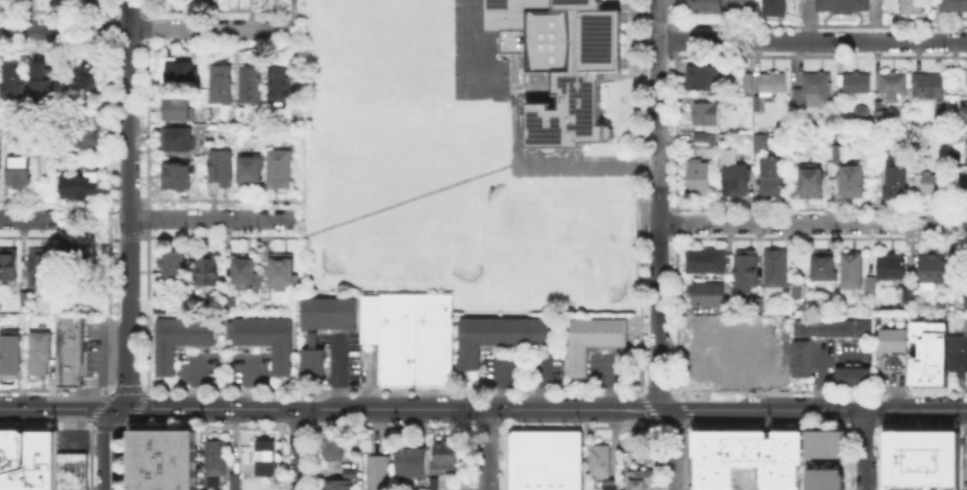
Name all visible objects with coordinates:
building: (844, 6)
building: (955, 6)
building: (707, 7)
building: (745, 7)
building: (777, 8)
building: (914, 8)
road: (146, 28)
road: (812, 40)
building: (561, 63)
building: (182, 74)
building: (86, 76)
building: (966, 77)
building: (705, 78)
building: (42, 79)
building: (750, 81)
building: (278, 82)
building: (18, 83)
building: (858, 84)
building: (252, 85)
building: (776, 85)
building: (224, 86)
building: (895, 86)
building: (813, 87)
building: (930, 87)
building: (759, 104)
building: (177, 110)
building: (963, 110)
building: (707, 112)
building: (882, 120)
building: (939, 120)
building: (8, 130)
road: (513, 134)
building: (89, 136)
building: (703, 136)
building: (957, 138)
building: (180, 140)
building: (762, 144)
building: (966, 148)
building: (278, 167)
building: (222, 169)
building: (49, 170)
building: (251, 170)
building: (20, 174)
building: (179, 176)
building: (897, 177)
building: (699, 178)
building: (773, 178)
building: (735, 179)
building: (812, 180)
building: (854, 181)
building: (930, 185)
building: (83, 186)
road: (407, 199)
road: (127, 205)
road: (658, 205)
park: (519, 214)
road: (25, 219)
road: (207, 220)
road: (812, 222)
park: (357, 228)
road: (214, 235)
building: (75, 239)
park: (455, 243)
building: (703, 259)
building: (7, 263)
building: (821, 264)
building: (889, 265)
building: (42, 266)
building: (173, 267)
park: (591, 268)
building: (743, 268)
building: (772, 268)
building: (849, 268)
building: (930, 269)
building: (280, 270)
building: (246, 272)
building: (208, 273)
building: (952, 274)
building: (869, 282)
building: (799, 290)
building: (704, 291)
building: (964, 292)
building: (905, 293)
building: (913, 293)
building: (23, 296)
building: (232, 301)
building: (327, 312)
building: (876, 317)
building: (884, 318)
building: (964, 323)
building: (831, 326)
building: (68, 327)
building: (700, 327)
building: (495, 335)
building: (408, 336)
building: (179, 337)
building: (264, 337)
building: (590, 338)
building: (892, 339)
building: (735, 345)
parking lot: (93, 348)
building: (39, 351)
building: (9, 352)
building: (928, 352)
building: (957, 353)
building: (311, 357)
building: (800, 357)
road: (818, 359)
building: (894, 360)
building: (765, 361)
building: (68, 363)
building: (702, 365)
road: (336, 373)
building: (852, 375)
road: (605, 381)
road: (195, 382)
road: (249, 382)
road: (502, 382)
road: (542, 383)
road: (145, 390)
road: (311, 390)
road: (648, 390)
road: (643, 399)
road: (58, 408)
traffic signals: (118, 408)
road: (573, 408)
road: (636, 408)
traffic signals: (639, 408)
road: (302, 409)
road: (495, 409)
road: (522, 409)
traffic signals: (692, 409)
road: (767, 409)
road: (916, 410)
building: (142, 441)
building: (824, 443)
building: (330, 444)
road: (109, 447)
road: (676, 448)
road: (298, 449)
road: (486, 449)
road: (866, 450)
building: (443, 452)
building: (966, 452)
building: (263, 456)
building: (598, 458)
building: (7, 459)
building: (35, 459)
building: (175, 459)
building: (214, 459)
building: (544, 459)
building: (402, 460)
building: (417, 460)
building: (921, 460)
building: (750, 461)
building: (142, 467)
building: (71, 470)
building: (348, 471)
building: (376, 472)
building: (640, 478)
building: (824, 479)
building: (233, 481)
building: (335, 484)
building: (606, 484)
building: (142, 485)

